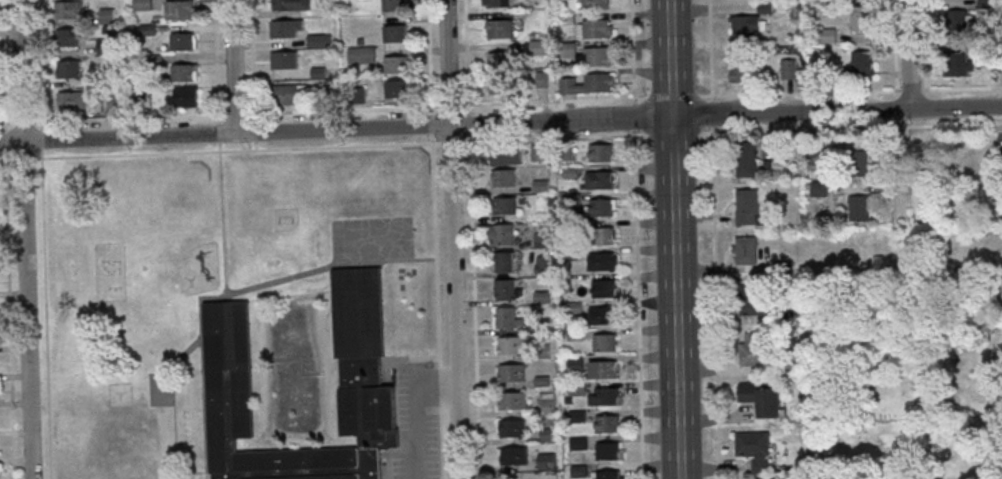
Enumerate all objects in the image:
building: (497, 3)
building: (142, 4)
building: (596, 4)
building: (289, 5)
building: (393, 5)
building: (67, 9)
building: (177, 10)
building: (107, 16)
building: (860, 17)
building: (956, 20)
building: (746, 26)
building: (280, 28)
building: (499, 28)
building: (596, 28)
building: (394, 33)
building: (828, 35)
building: (68, 37)
building: (319, 40)
building: (180, 41)
road: (631, 49)
road: (426, 52)
road: (463, 52)
building: (361, 54)
road: (908, 55)
building: (595, 56)
building: (281, 60)
building: (861, 61)
building: (956, 62)
building: (396, 64)
road: (233, 67)
building: (68, 68)
building: (788, 69)
road: (18, 70)
building: (181, 72)
building: (741, 72)
building: (588, 84)
building: (495, 85)
building: (397, 88)
building: (289, 94)
building: (183, 97)
building: (72, 99)
road: (232, 112)
road: (18, 121)
road: (500, 122)
road: (549, 137)
road: (448, 142)
road: (272, 148)
building: (817, 149)
building: (539, 152)
building: (601, 152)
building: (506, 155)
road: (19, 158)
building: (745, 158)
building: (856, 161)
building: (770, 166)
building: (502, 177)
building: (597, 179)
road: (897, 183)
building: (540, 185)
building: (817, 188)
building: (504, 204)
building: (746, 206)
building: (858, 206)
building: (600, 207)
road: (468, 208)
building: (500, 233)
building: (598, 235)
building: (541, 238)
road: (452, 239)
road: (674, 239)
road: (714, 239)
road: (636, 248)
building: (744, 249)
building: (502, 261)
building: (599, 261)
building: (542, 265)
building: (604, 287)
building: (503, 288)
road: (43, 299)
building: (753, 299)
road: (7, 300)
road: (25, 309)
building: (601, 315)
building: (504, 316)
building: (603, 341)
building: (510, 344)
building: (753, 348)
building: (575, 363)
building: (601, 368)
building: (511, 372)
building: (229, 373)
building: (606, 395)
building: (760, 397)
building: (511, 399)
building: (546, 403)
road: (412, 410)
building: (605, 422)
building: (511, 427)
building: (578, 443)
building: (753, 448)
building: (606, 449)
building: (513, 455)
building: (546, 461)
building: (607, 474)
building: (763, 478)

